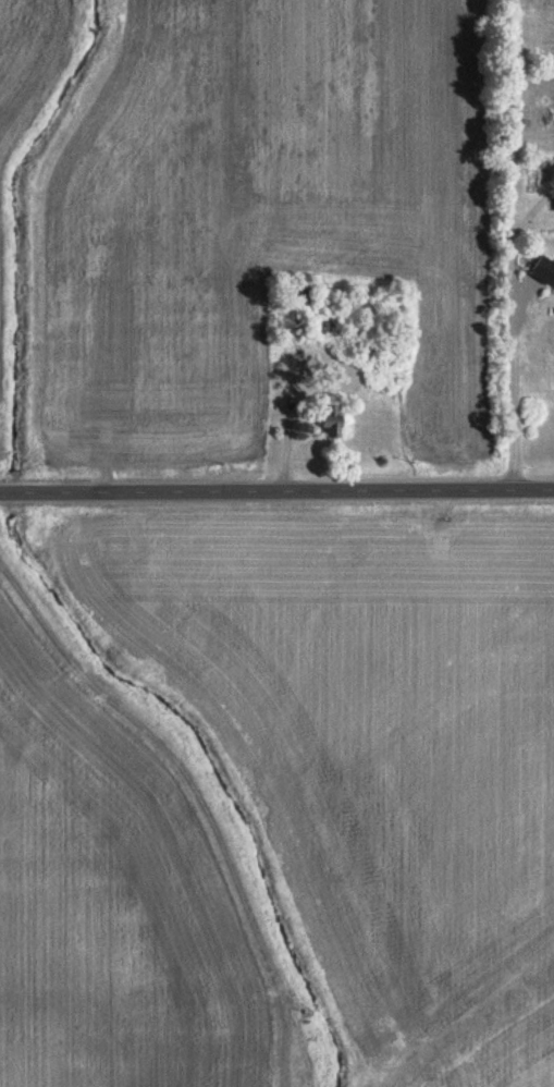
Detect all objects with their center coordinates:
building: (544, 268)
road: (524, 302)
road: (512, 407)
building: (331, 419)
road: (276, 494)
crop: (374, 733)
crop: (512, 1060)

